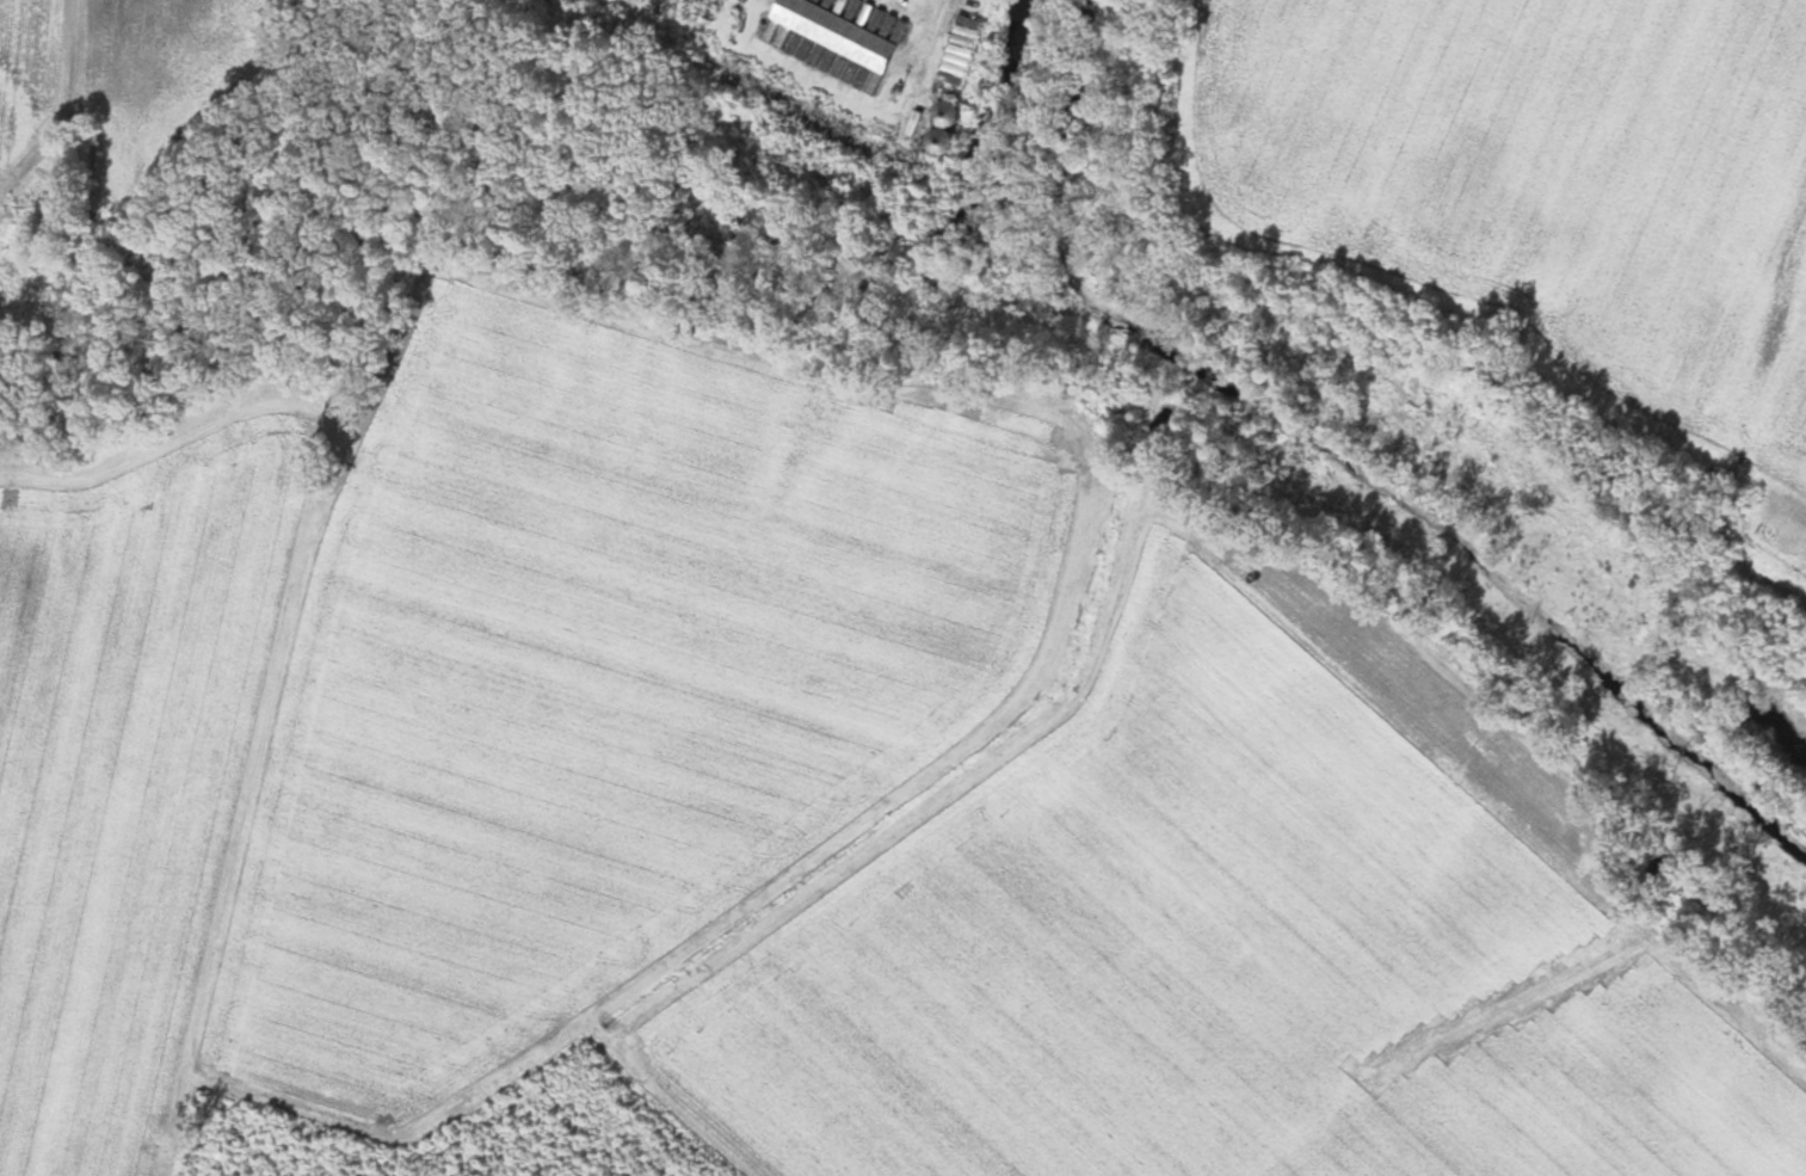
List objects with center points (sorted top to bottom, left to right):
building: (828, 33)

